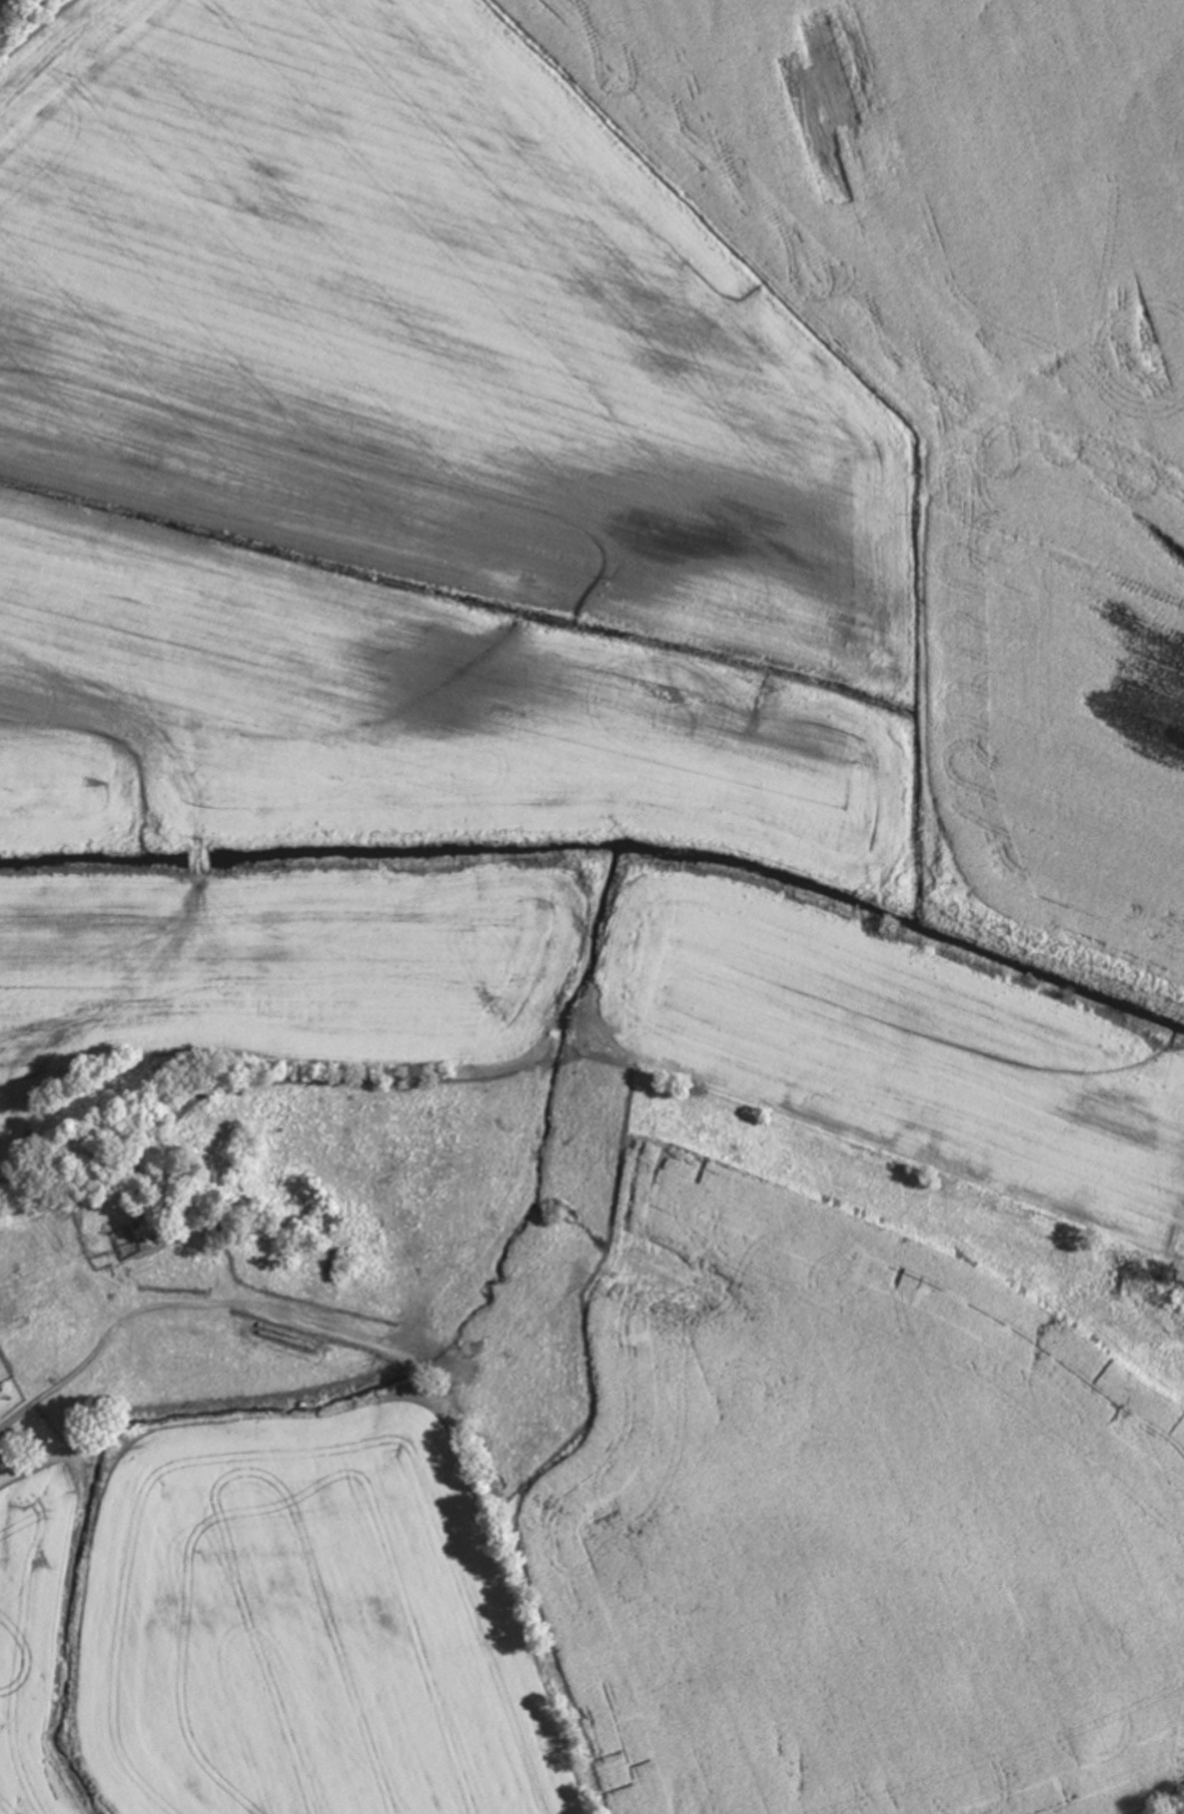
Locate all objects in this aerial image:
building: (145, 1228)

